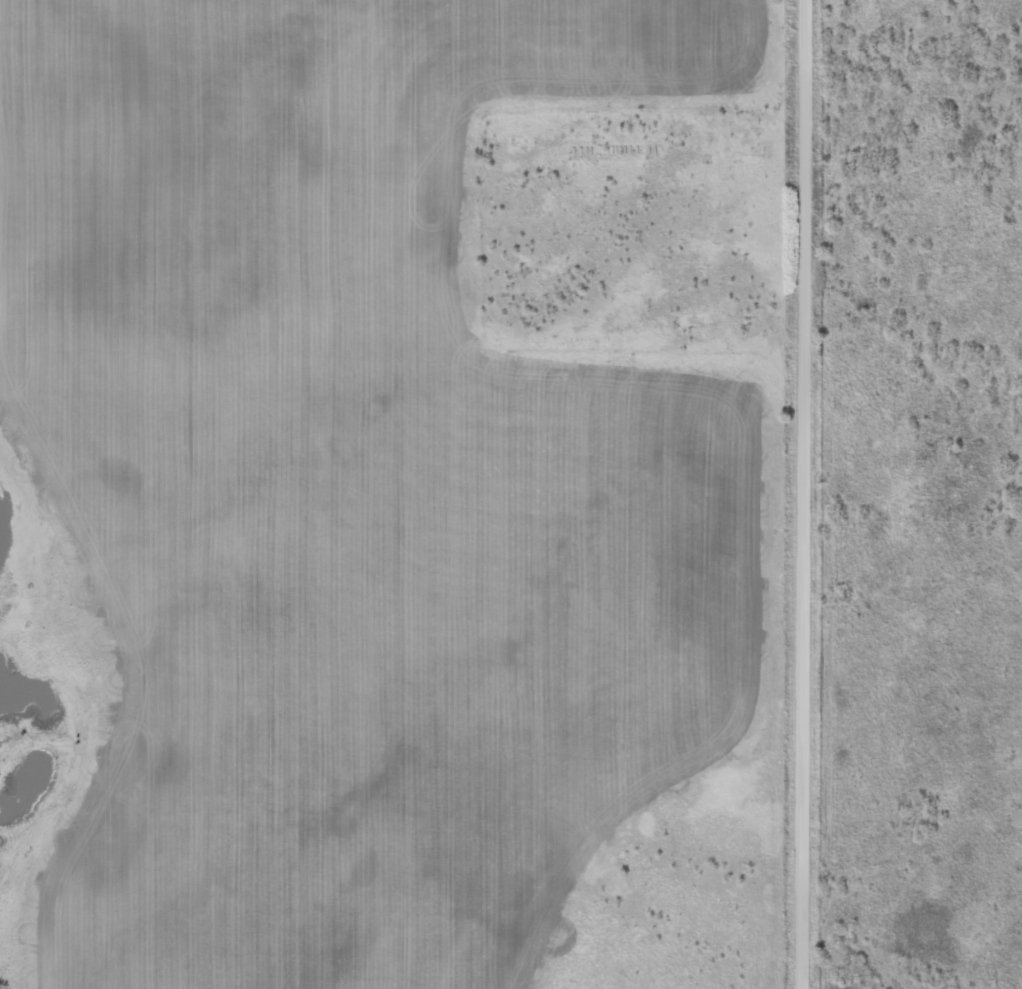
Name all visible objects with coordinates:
road: (807, 494)

